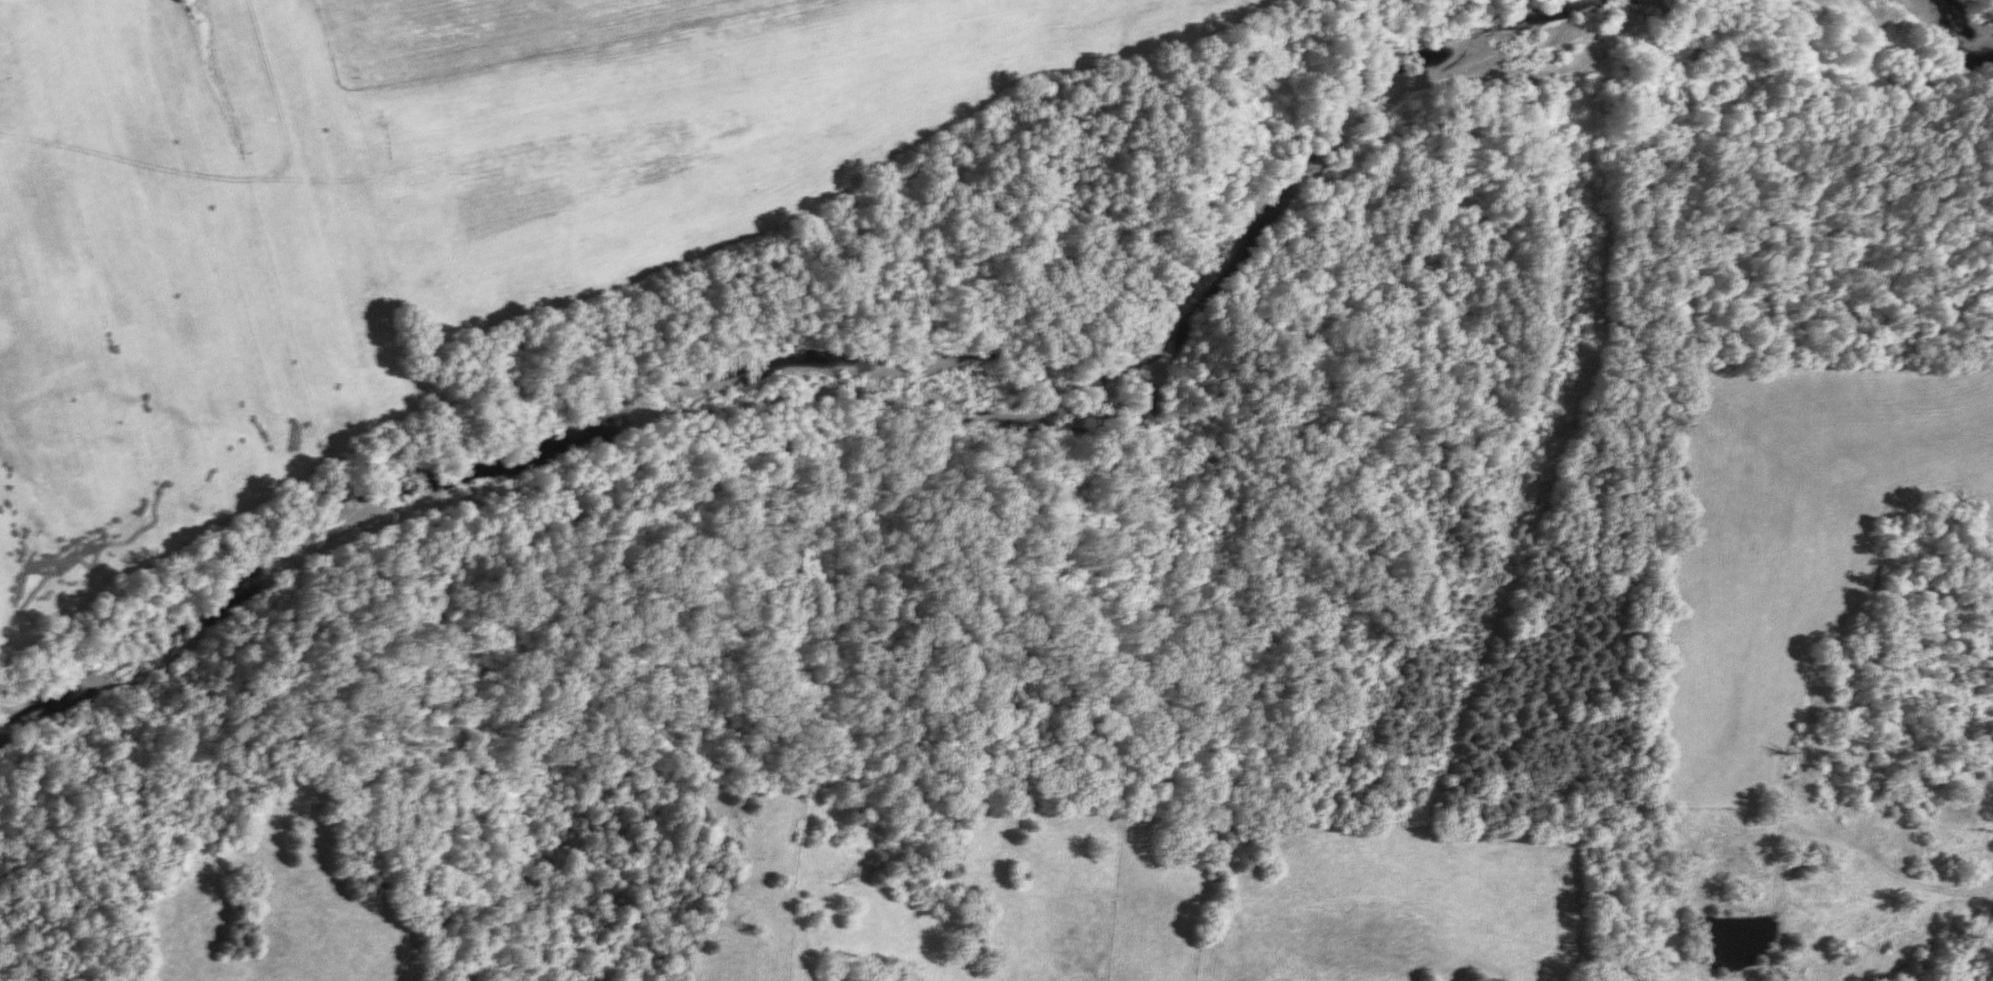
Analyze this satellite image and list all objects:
power tower: (1581, 342)
power tower: (1455, 692)

